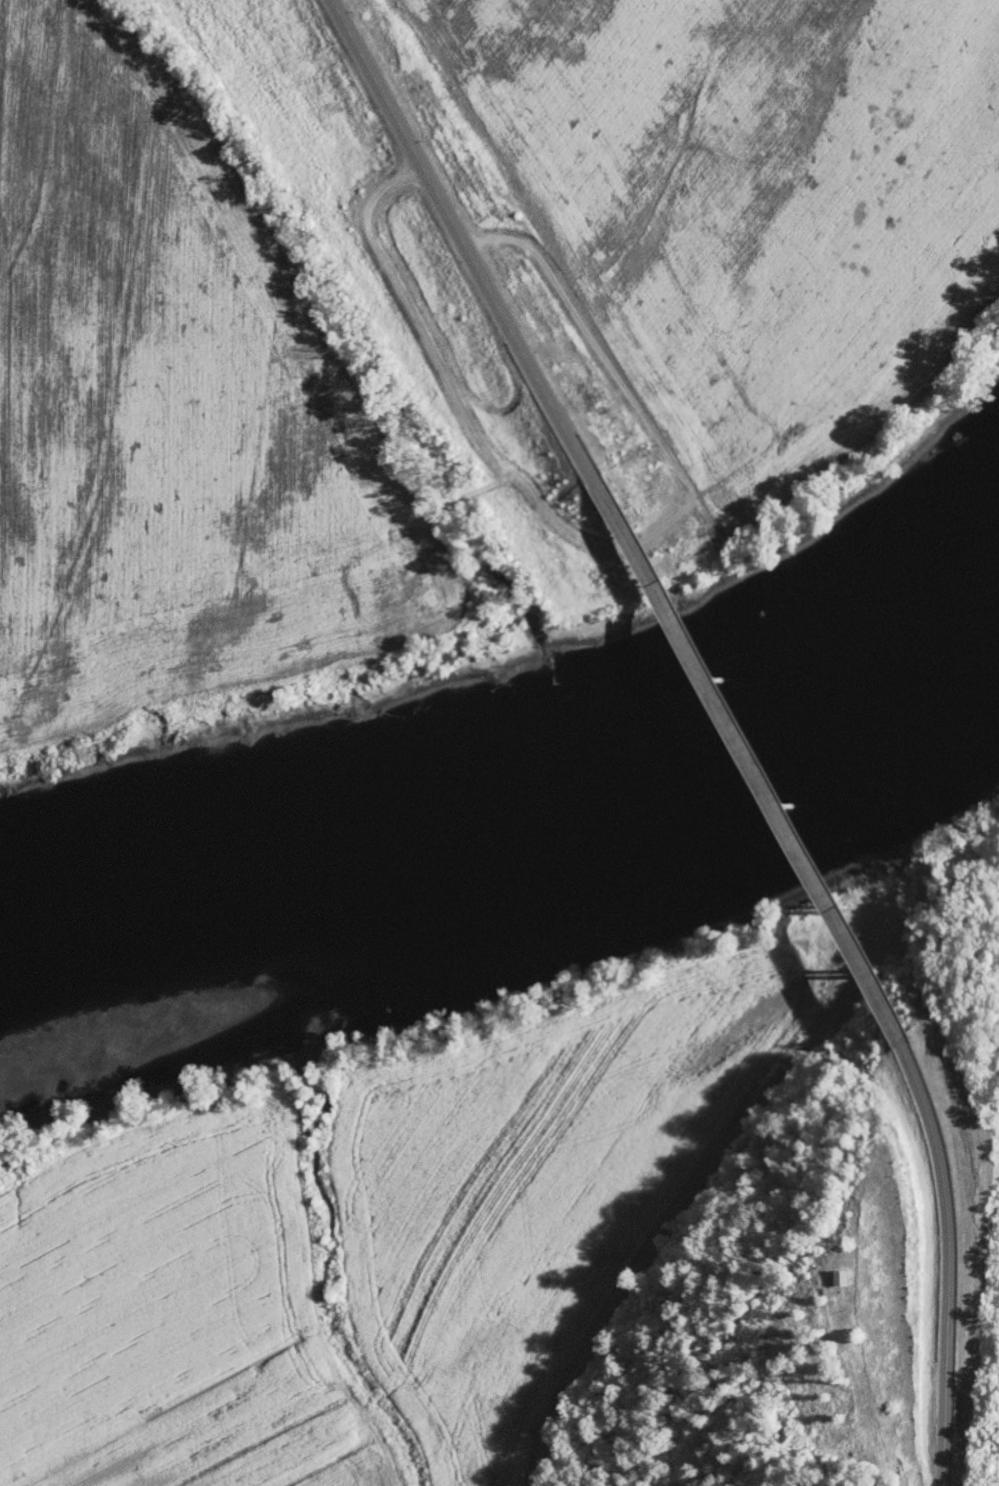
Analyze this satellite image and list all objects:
road: (461, 240)
road: (751, 758)
river: (518, 846)
crop: (536, 1207)
road: (945, 1260)
crop: (167, 1302)
crop: (308, 1452)

